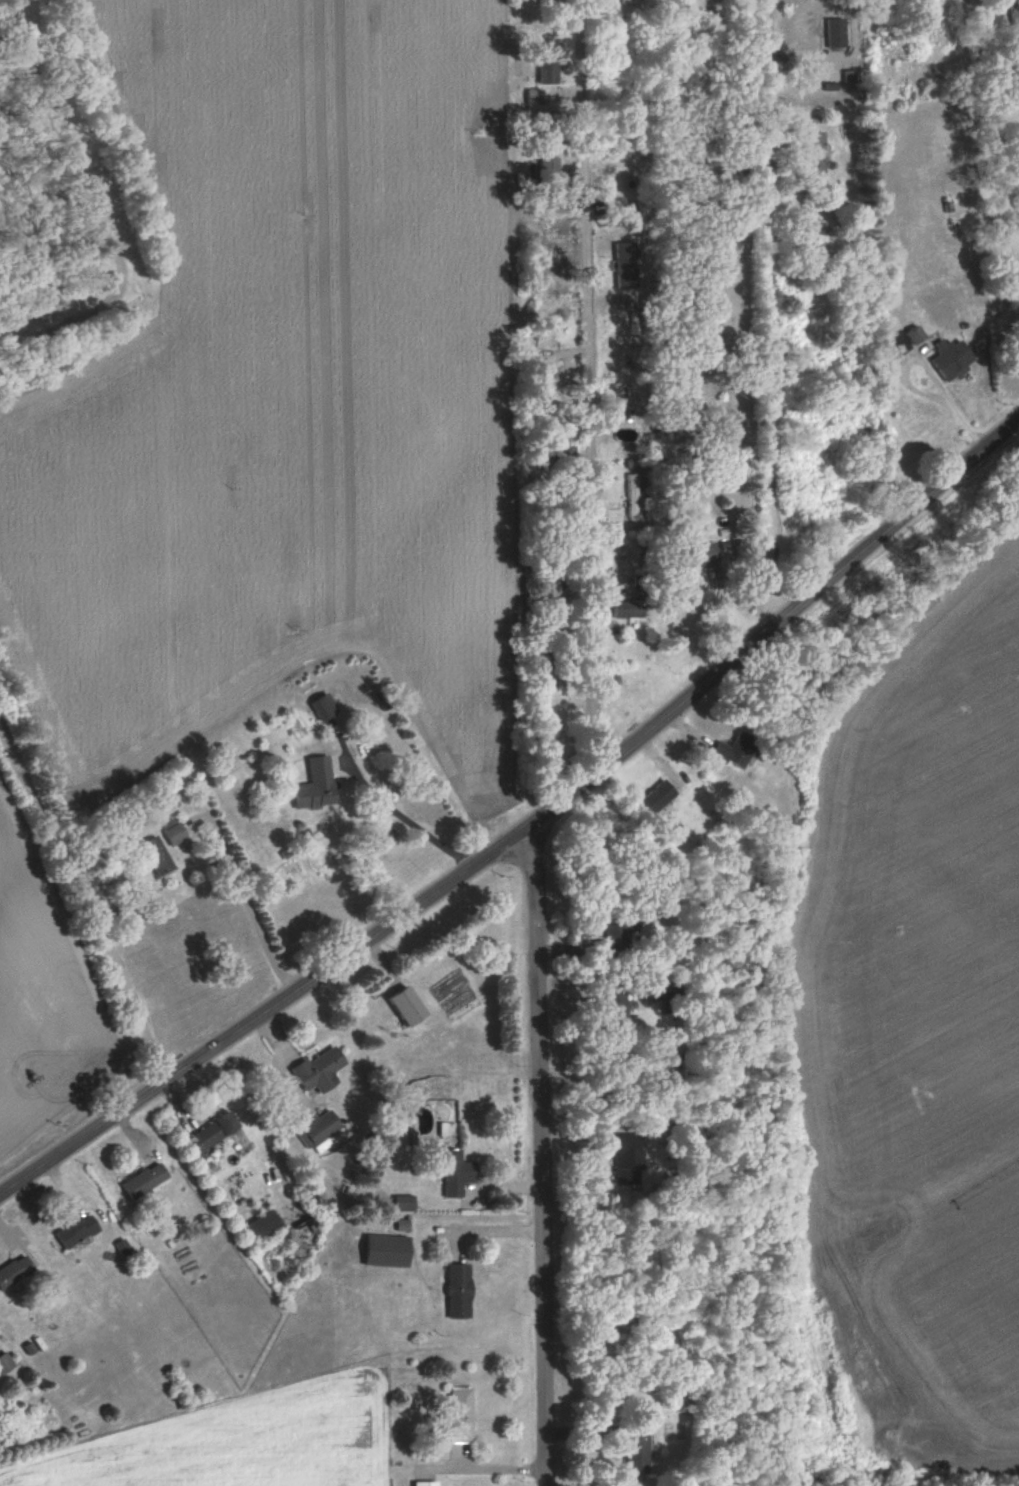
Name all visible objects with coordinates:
building: (629, 2)
building: (1015, 15)
building: (1016, 62)
building: (814, 154)
road: (90, 215)
building: (552, 280)
road: (752, 314)
building: (914, 336)
building: (896, 344)
building: (951, 359)
road: (590, 385)
building: (564, 450)
building: (633, 485)
building: (698, 557)
building: (554, 590)
building: (626, 609)
building: (323, 708)
building: (736, 751)
building: (315, 786)
building: (657, 798)
road: (393, 810)
road: (524, 825)
building: (174, 835)
building: (270, 839)
building: (156, 857)
road: (81, 905)
road: (245, 905)
building: (611, 936)
building: (612, 1007)
building: (407, 1008)
building: (320, 1071)
building: (321, 1131)
building: (214, 1132)
road: (540, 1152)
building: (628, 1160)
building: (456, 1175)
building: (145, 1182)
building: (403, 1204)
building: (262, 1228)
building: (76, 1233)
building: (387, 1252)
building: (14, 1272)
building: (458, 1293)
building: (5, 1364)
building: (460, 1417)
building: (636, 1450)
building: (425, 1484)

